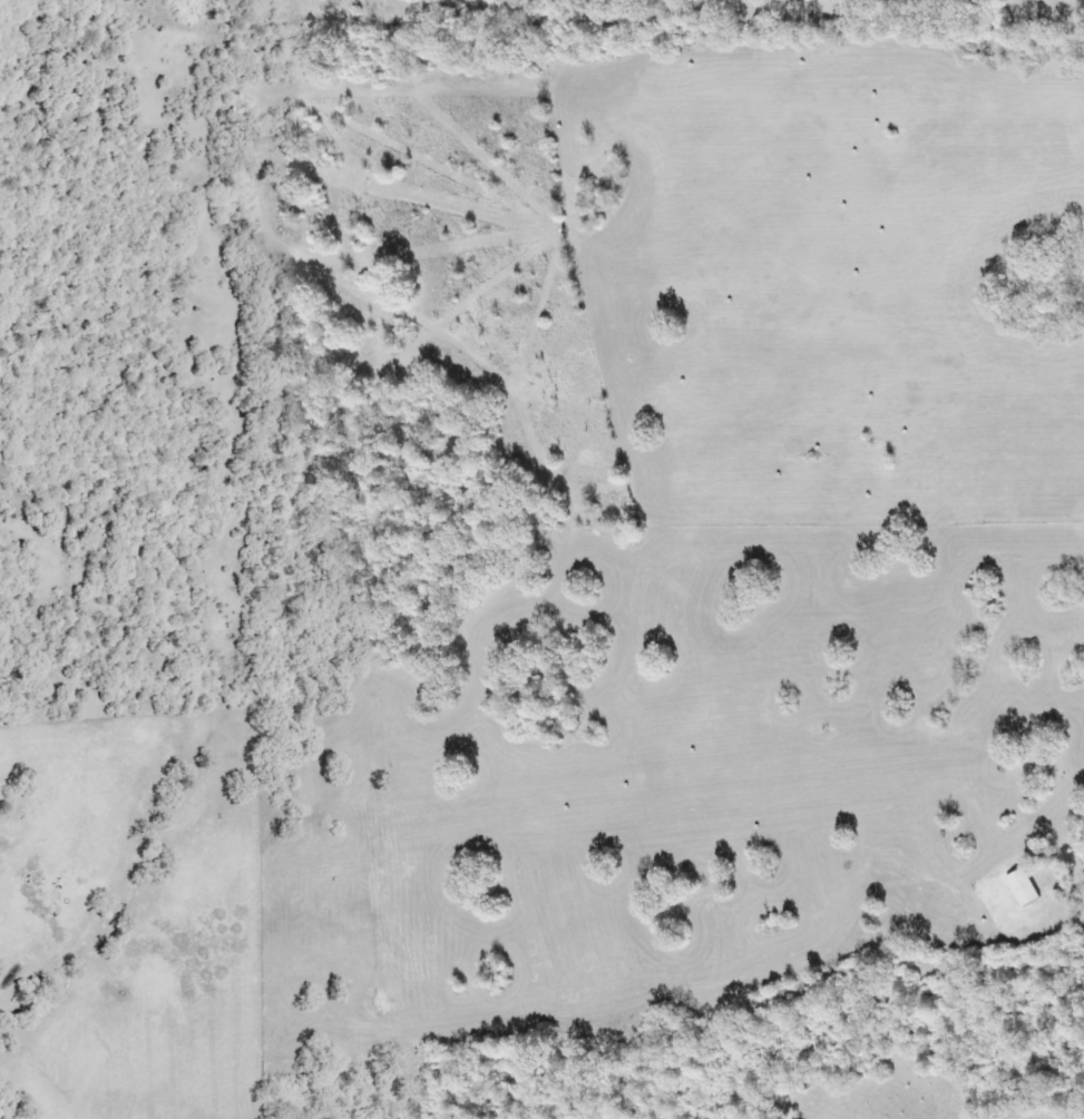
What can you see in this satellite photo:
building: (1026, 887)

